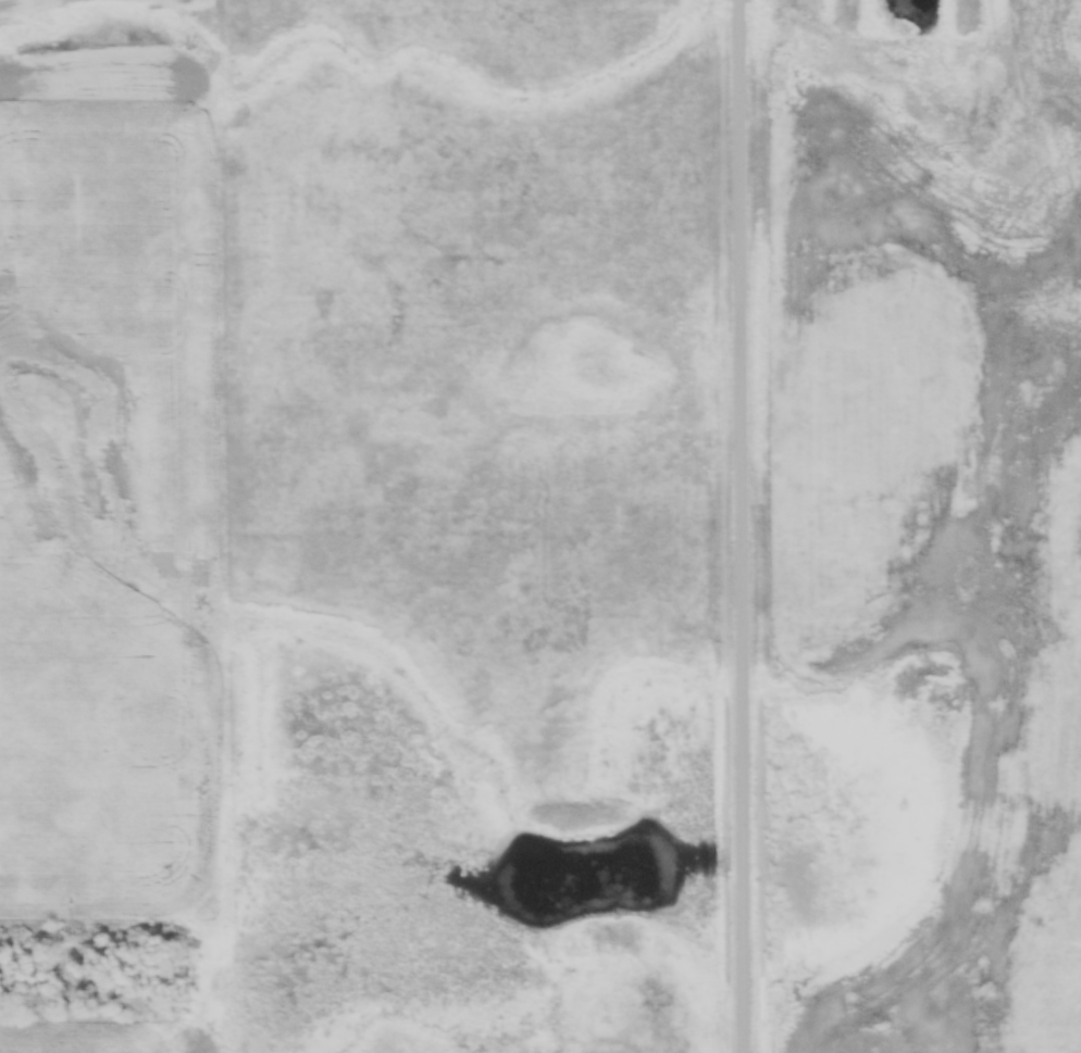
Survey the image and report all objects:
road: (740, 526)

